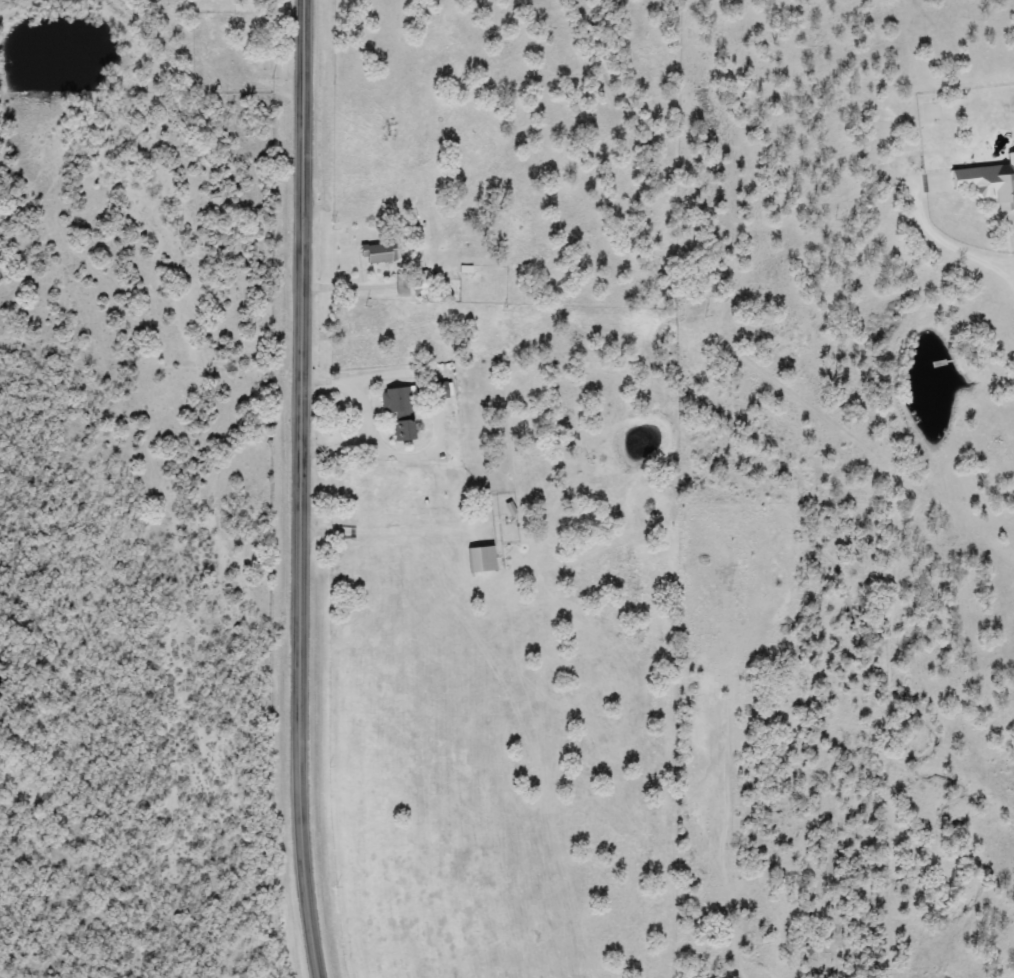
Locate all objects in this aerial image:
building: (936, 182)
building: (987, 182)
road: (950, 251)
building: (378, 253)
building: (411, 284)
road: (363, 409)
building: (399, 411)
road: (295, 489)
building: (482, 559)

